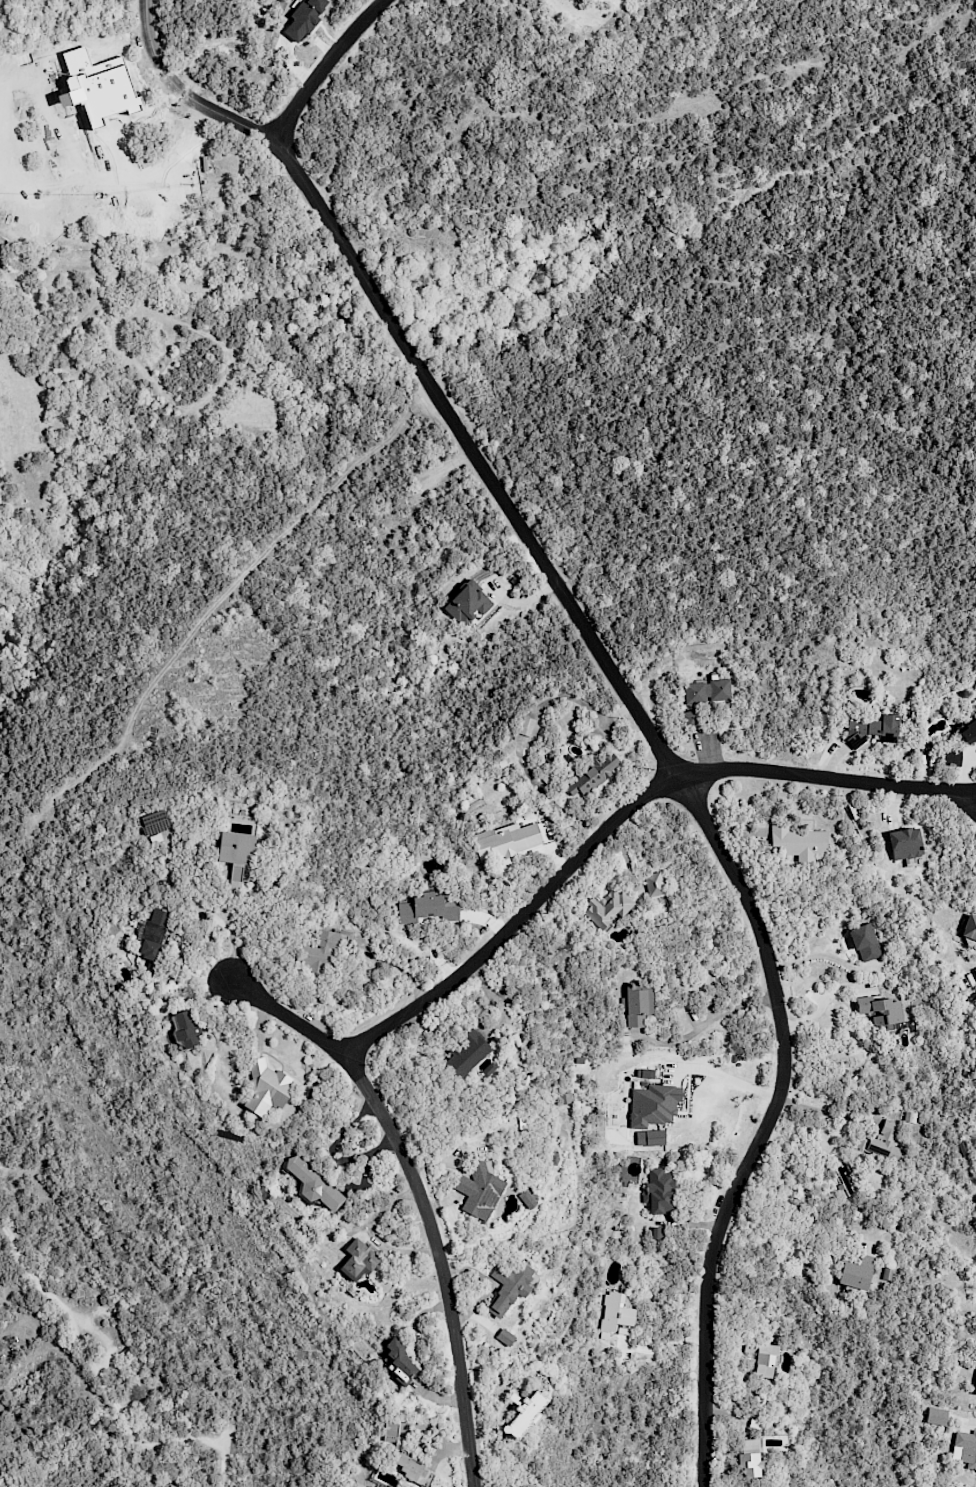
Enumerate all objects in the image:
building: (305, 18)
road: (325, 69)
building: (100, 148)
building: (193, 152)
road: (91, 186)
road: (422, 371)
building: (468, 603)
building: (708, 691)
building: (690, 719)
building: (526, 726)
building: (871, 729)
building: (968, 733)
building: (951, 757)
building: (594, 774)
road: (972, 795)
road: (620, 815)
building: (154, 824)
building: (506, 840)
building: (798, 843)
building: (905, 843)
building: (236, 853)
building: (429, 908)
building: (606, 909)
building: (970, 928)
building: (153, 933)
building: (865, 942)
building: (318, 953)
road: (822, 955)
road: (393, 965)
building: (975, 971)
building: (637, 1005)
building: (880, 1010)
road: (707, 1021)
building: (185, 1028)
building: (466, 1054)
road: (731, 1080)
building: (267, 1088)
building: (653, 1105)
road: (824, 1112)
road: (768, 1125)
building: (650, 1138)
building: (881, 1141)
building: (313, 1185)
building: (479, 1191)
building: (659, 1191)
road: (420, 1196)
building: (528, 1199)
road: (803, 1208)
building: (657, 1233)
building: (358, 1260)
building: (856, 1273)
building: (509, 1287)
building: (615, 1316)
building: (505, 1337)
building: (762, 1359)
building: (399, 1361)
road: (104, 1383)
building: (975, 1390)
building: (524, 1414)
building: (936, 1416)
building: (390, 1432)
building: (965, 1449)
building: (751, 1459)
building: (412, 1469)

